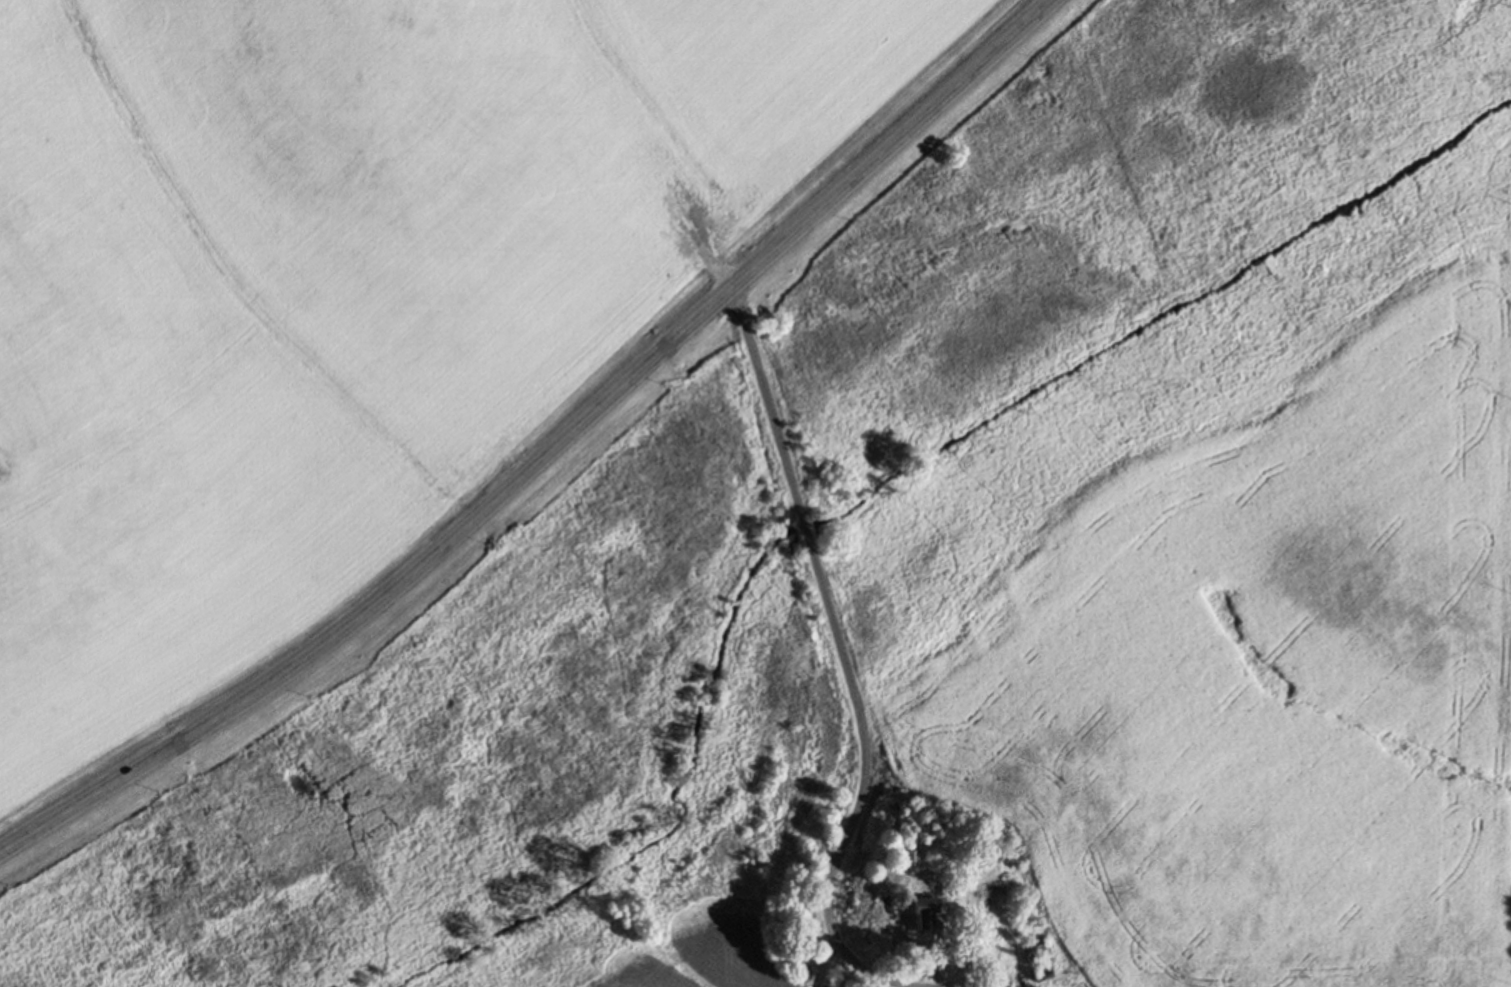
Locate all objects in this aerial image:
road: (548, 454)
road: (846, 657)
building: (925, 914)
building: (1037, 962)
building: (996, 979)

